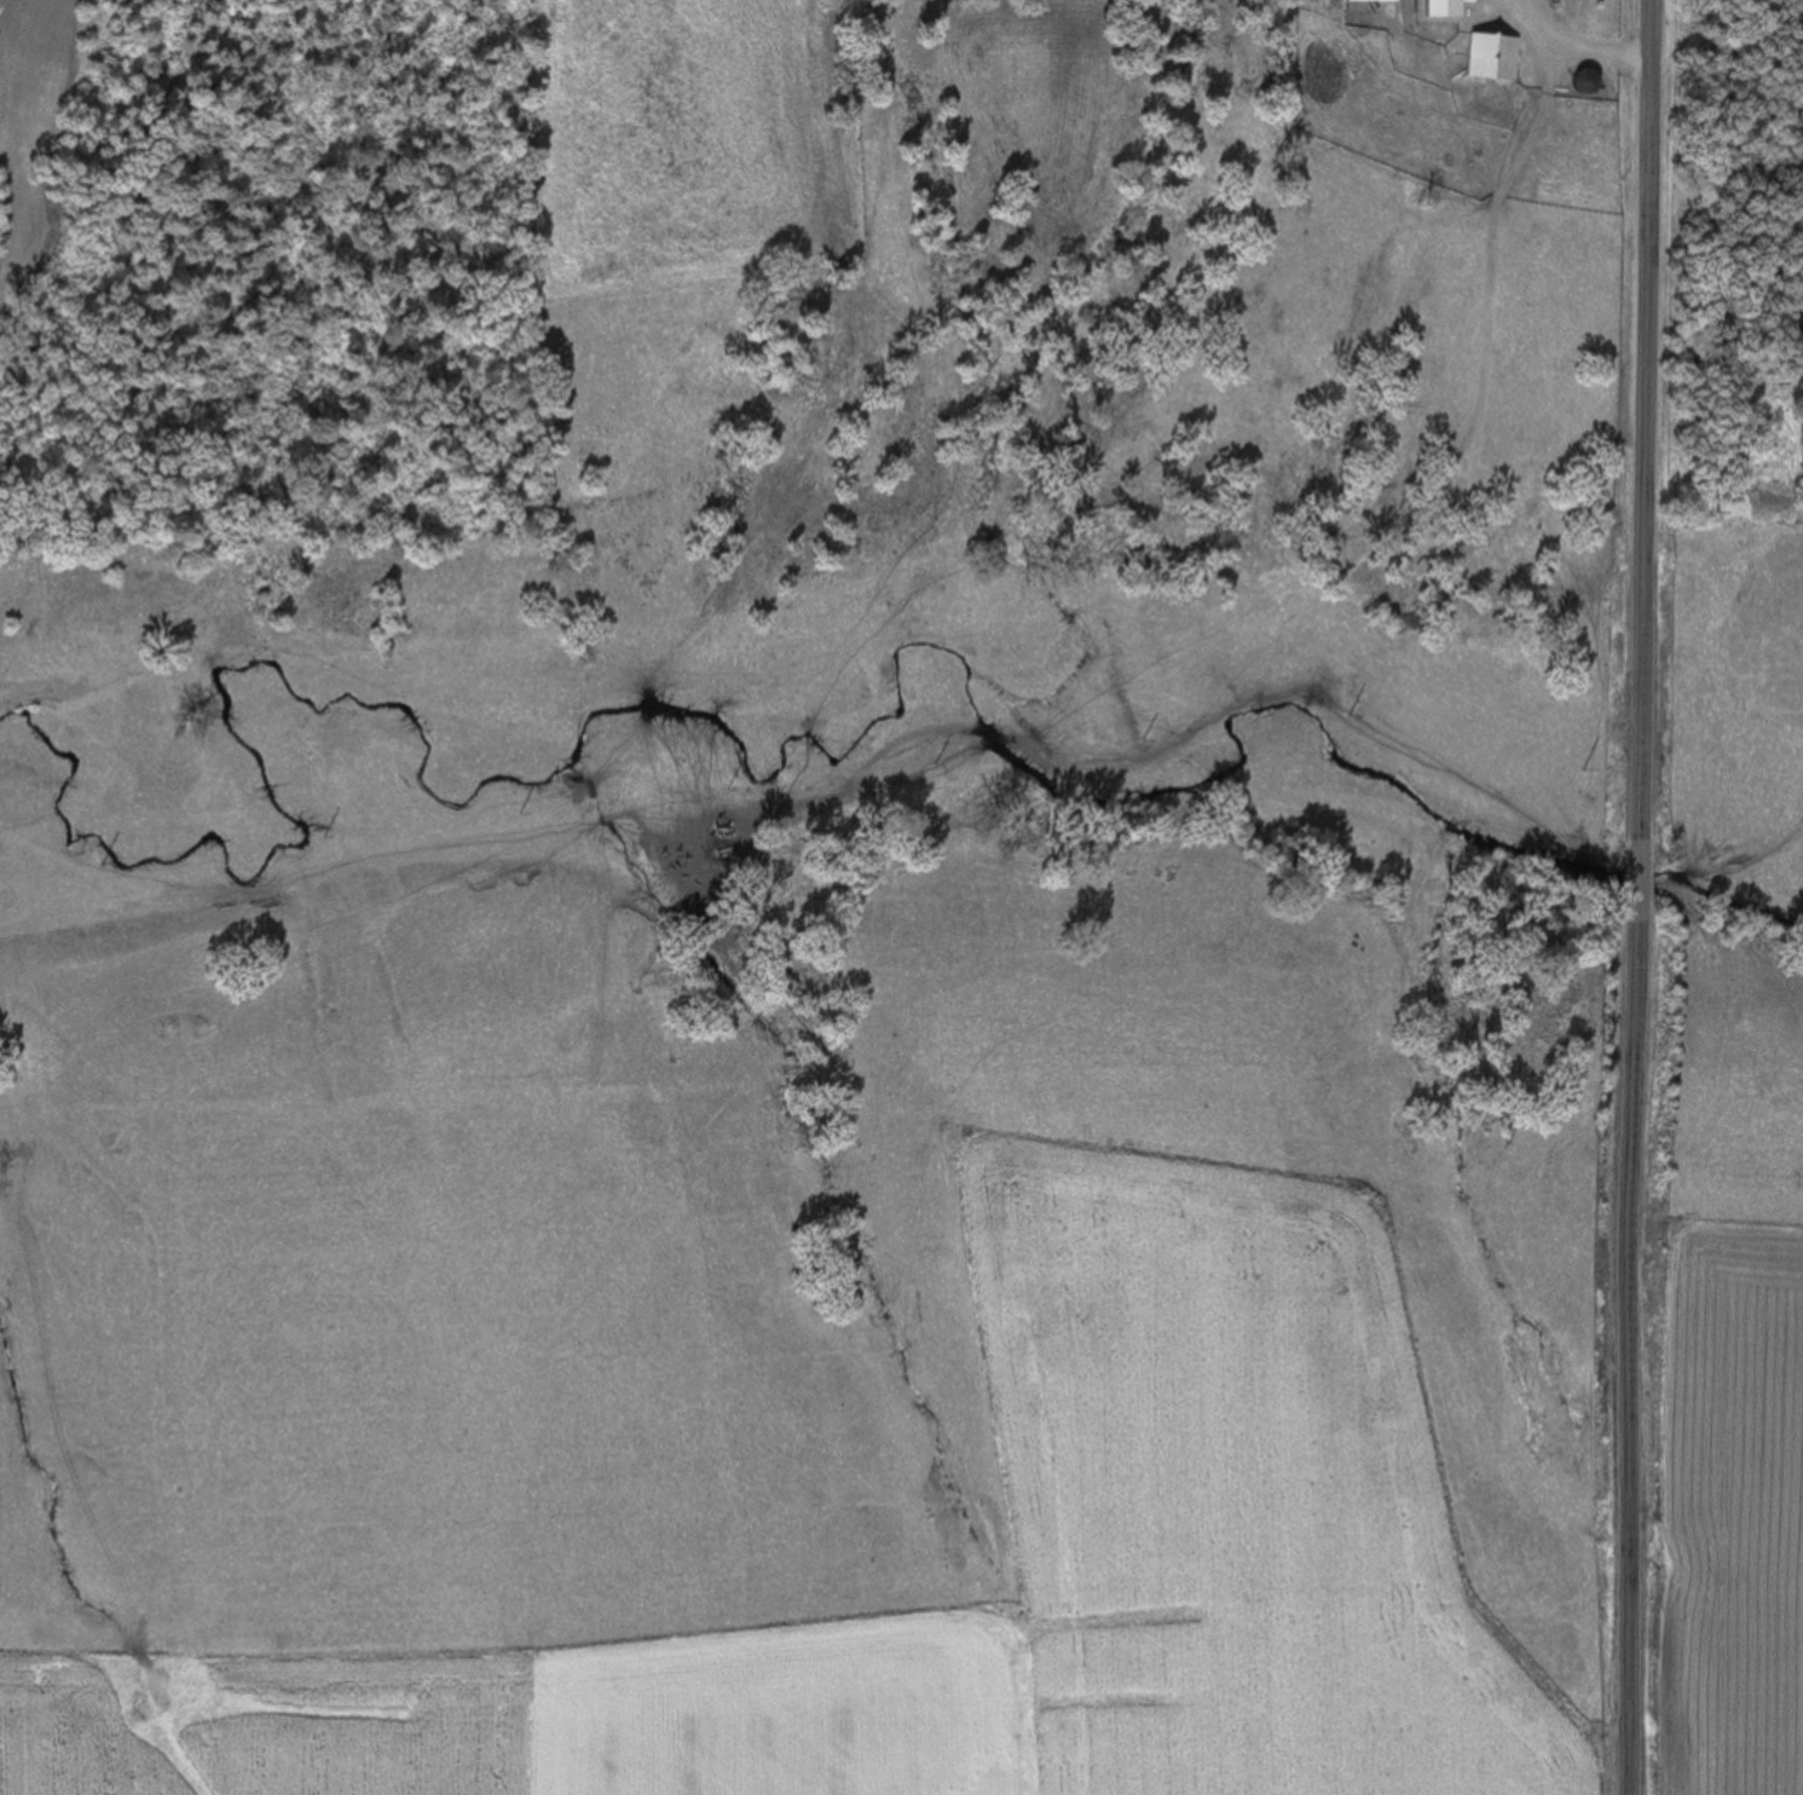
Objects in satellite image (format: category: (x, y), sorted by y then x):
building: (1376, 0)
building: (1449, 8)
building: (1497, 56)
building: (1591, 80)
road: (1634, 896)

